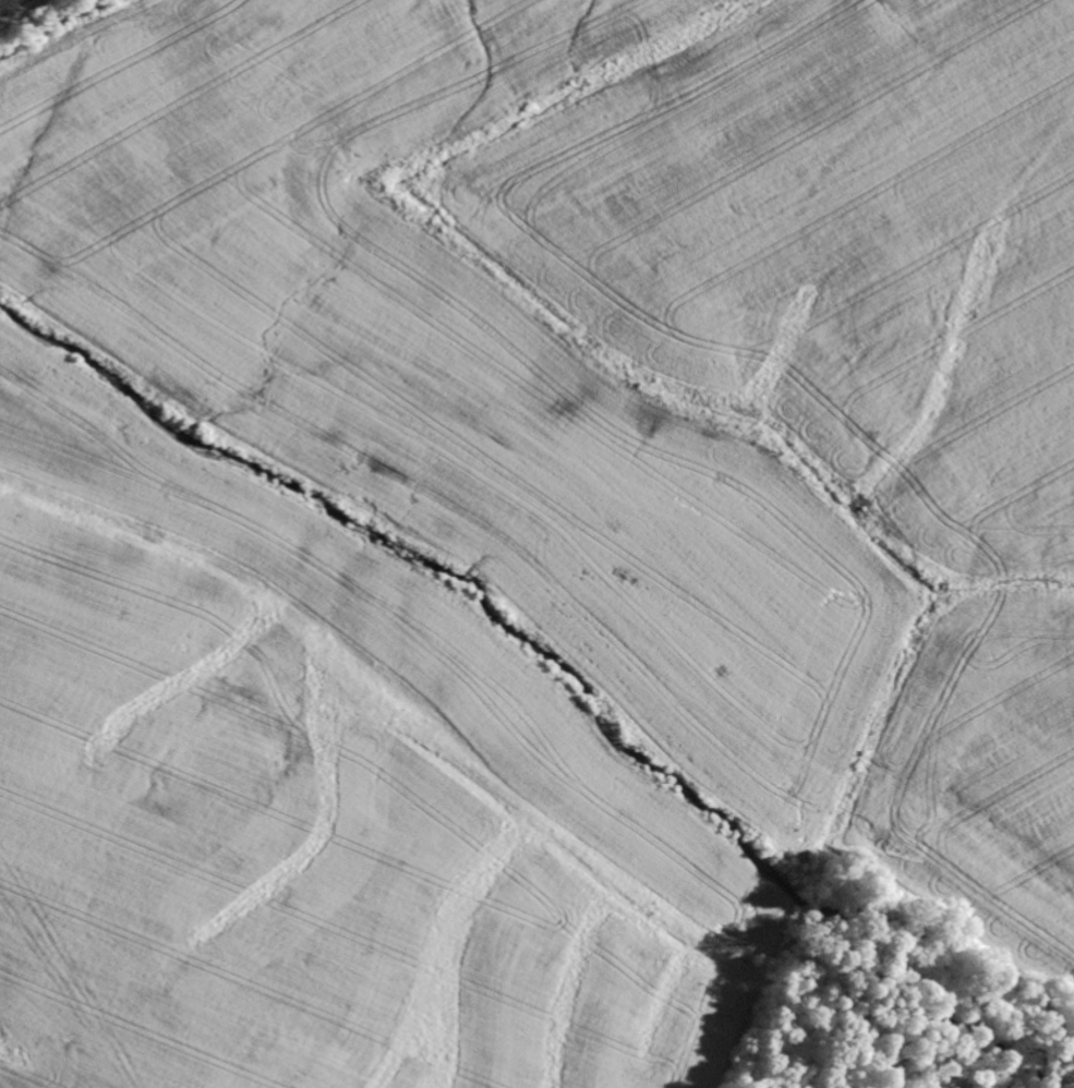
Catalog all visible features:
railway: (4, 2)

